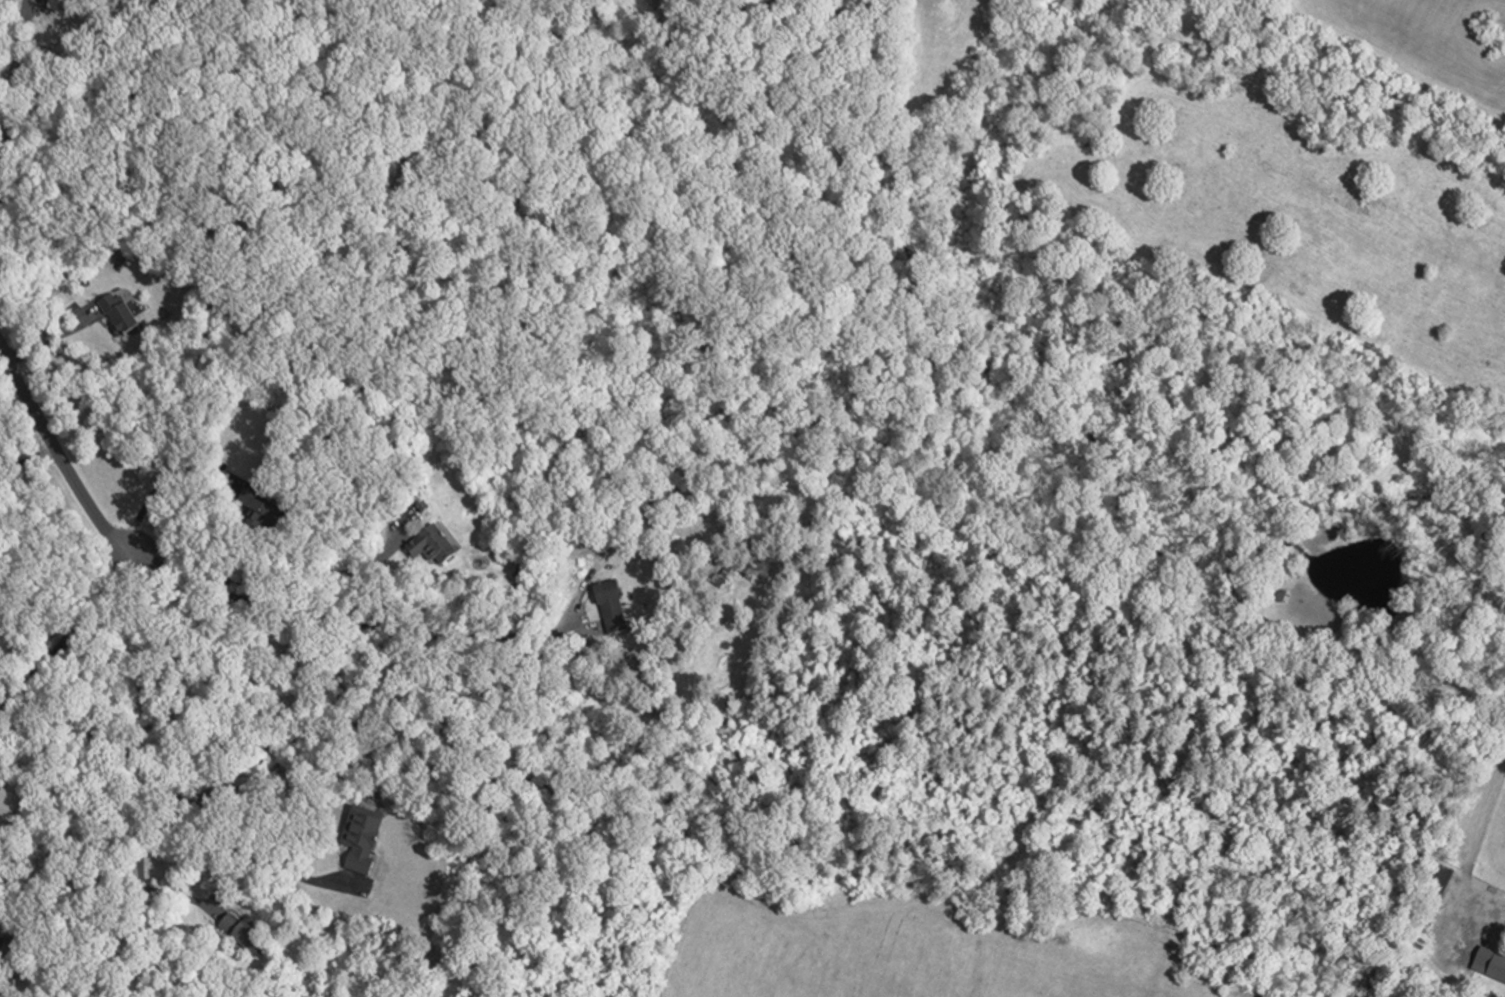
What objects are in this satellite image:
building: (52, 6)
road: (12, 84)
building: (118, 317)
road: (52, 337)
road: (59, 457)
road: (27, 459)
road: (156, 488)
building: (419, 505)
building: (253, 507)
building: (430, 546)
road: (280, 575)
building: (608, 604)
road: (372, 625)
road: (67, 634)
road: (180, 799)
building: (7, 804)
building: (358, 835)
road: (138, 853)
building: (1440, 877)
building: (242, 929)
building: (12, 958)
building: (1489, 961)

